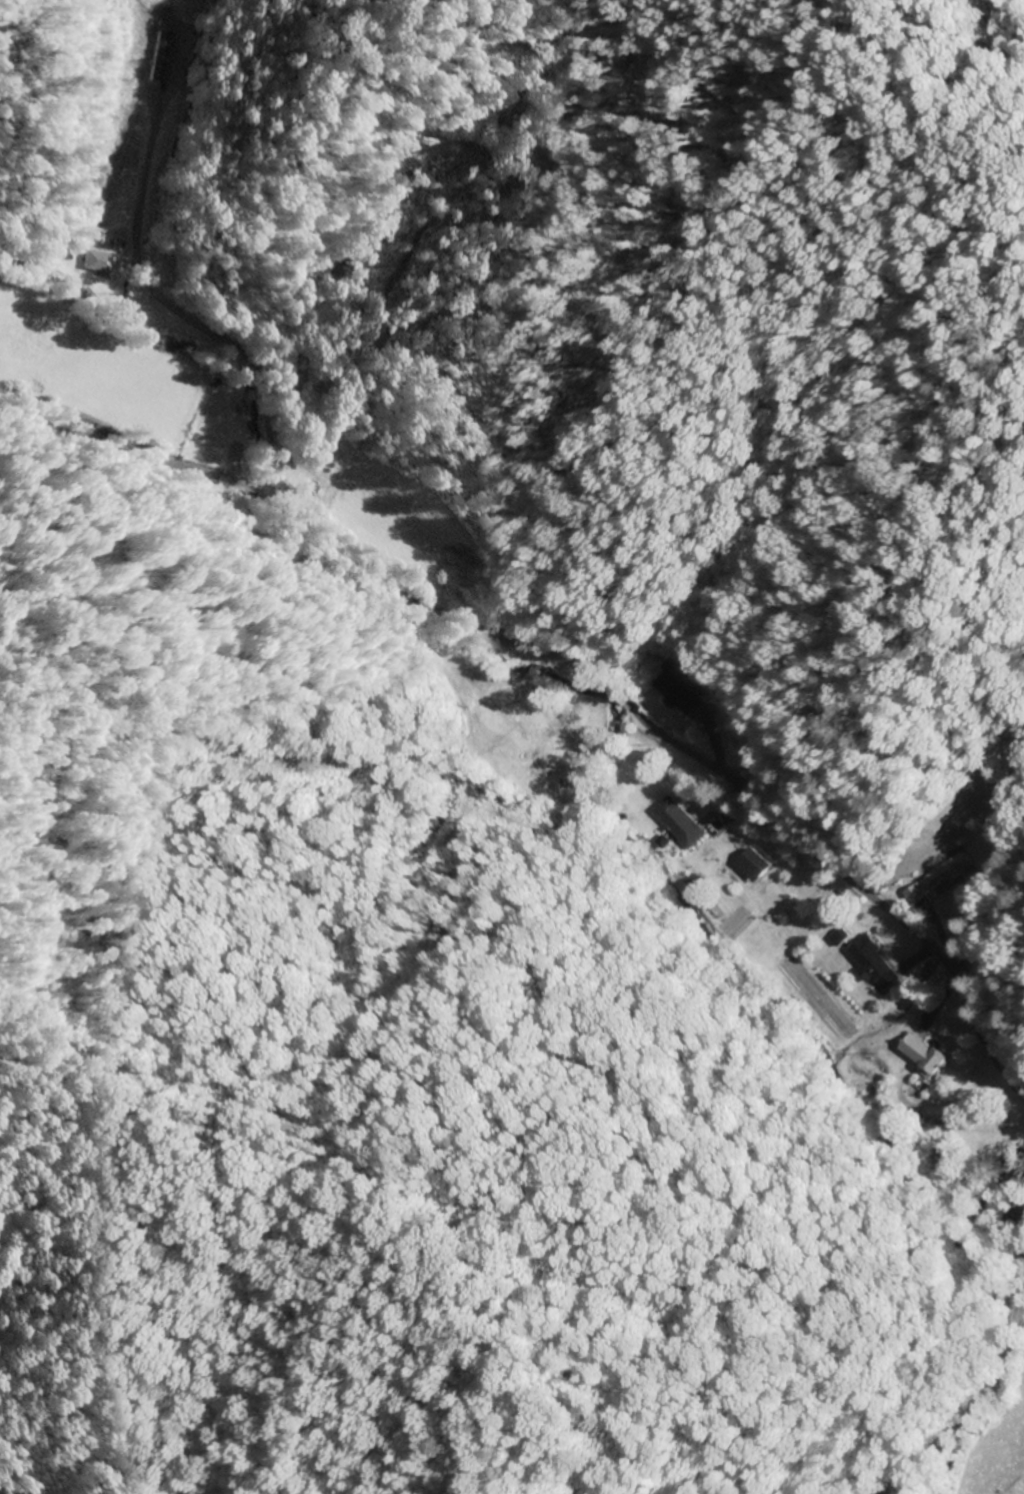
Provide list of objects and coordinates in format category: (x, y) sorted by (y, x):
building: (103, 263)
building: (456, 577)
road: (571, 659)
building: (681, 695)
building: (561, 748)
building: (951, 872)
building: (879, 965)
building: (929, 1053)
building: (940, 1155)
road: (974, 1407)

